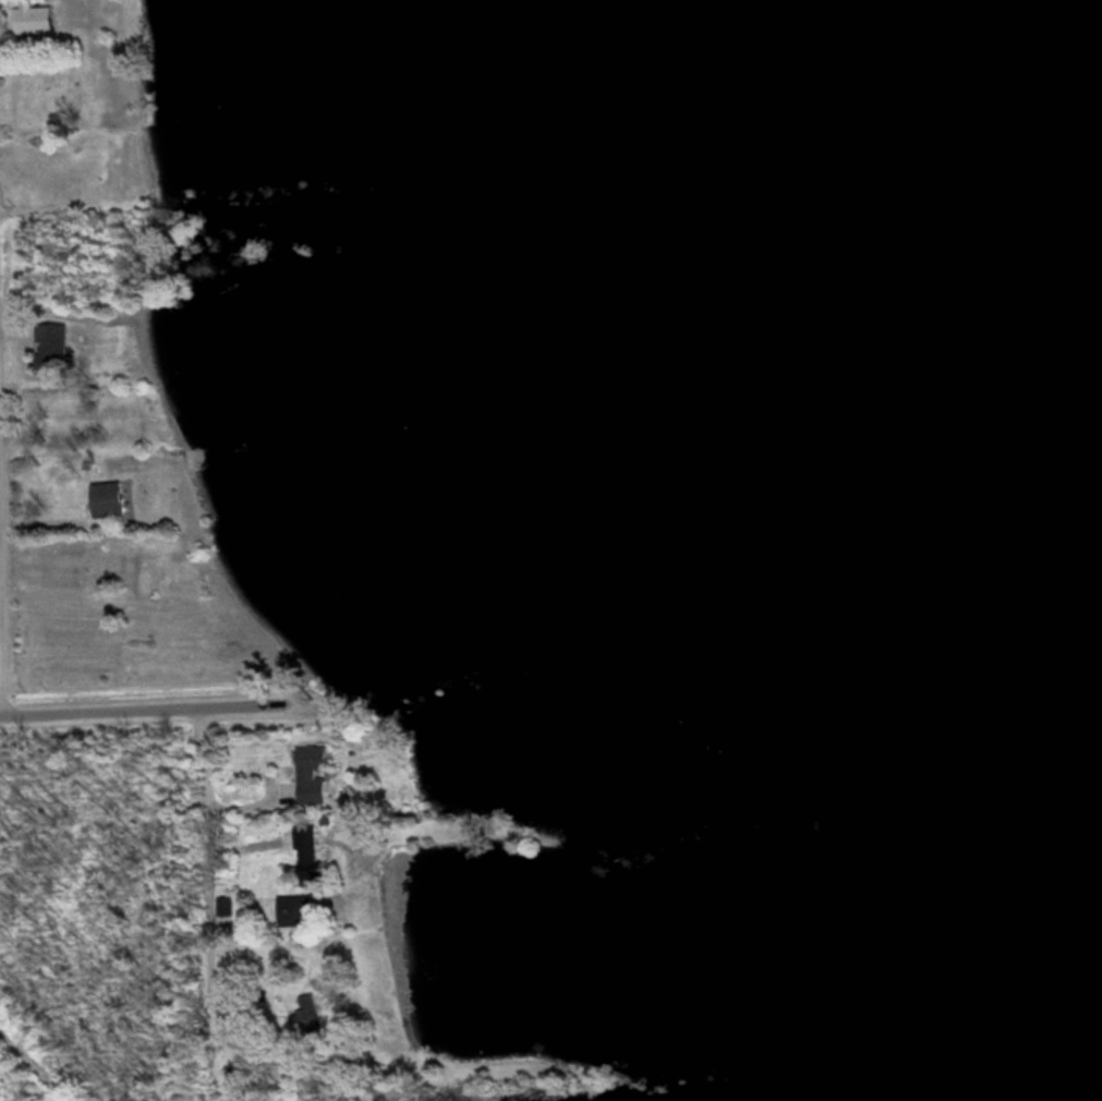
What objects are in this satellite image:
building: (41, 16)
building: (63, 344)
building: (120, 497)
road: (143, 707)
building: (326, 773)
road: (209, 849)
building: (323, 854)
building: (306, 910)
building: (320, 1014)
road: (39, 1056)

